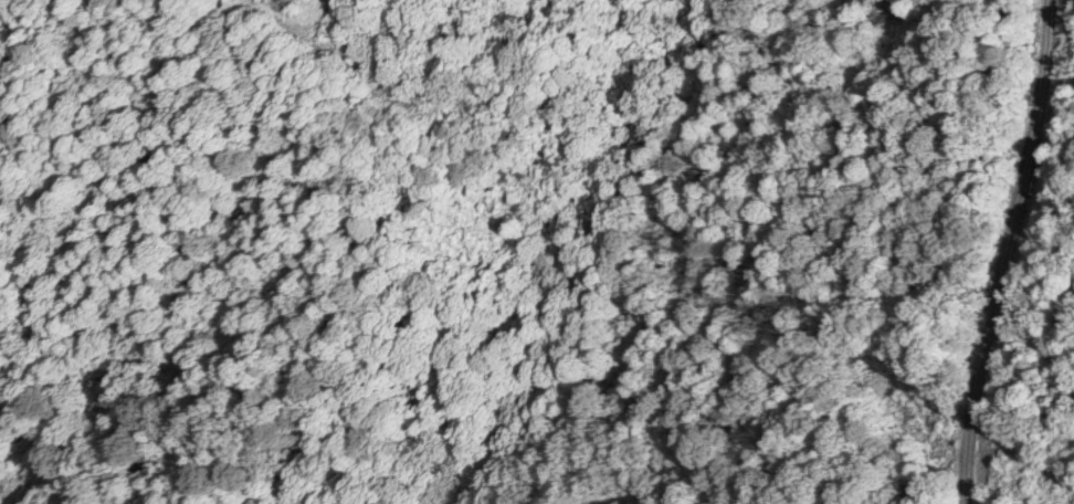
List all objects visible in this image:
road: (1011, 252)

